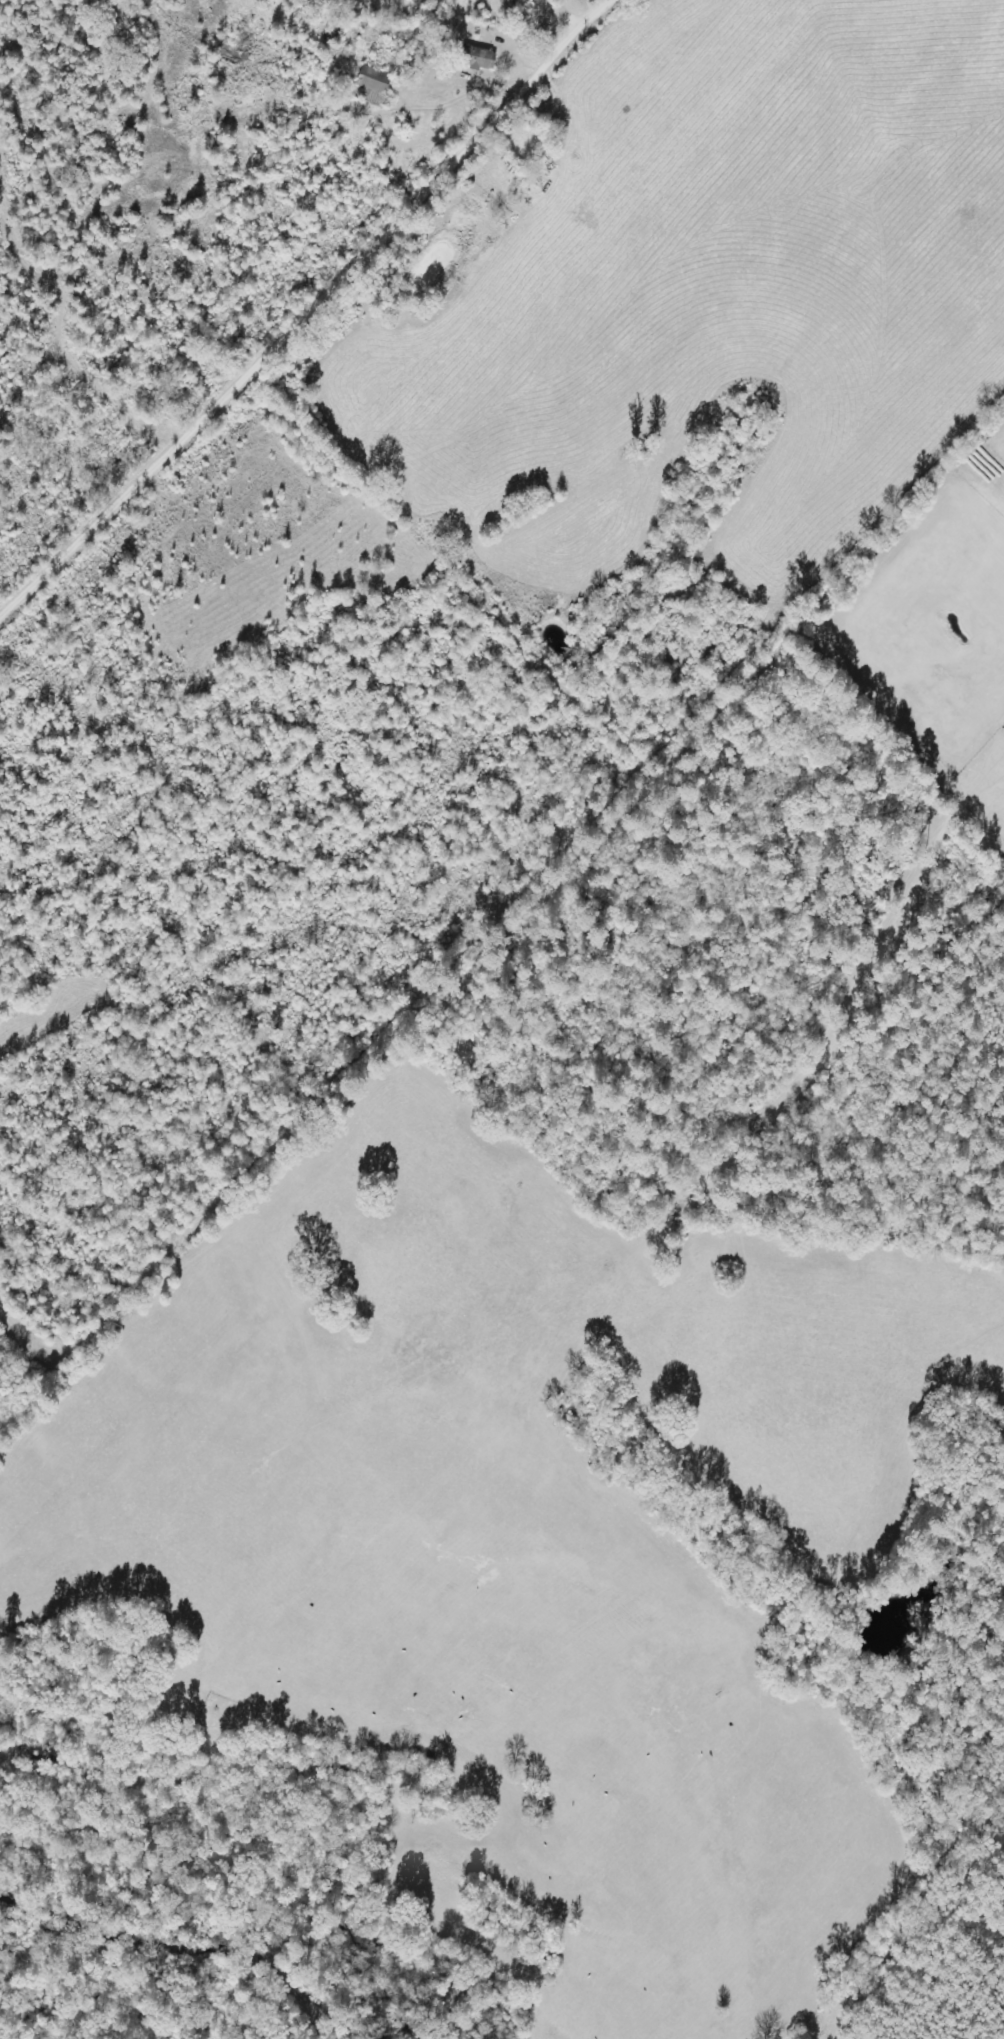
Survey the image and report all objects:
building: (480, 59)
building: (377, 82)
road: (311, 312)

